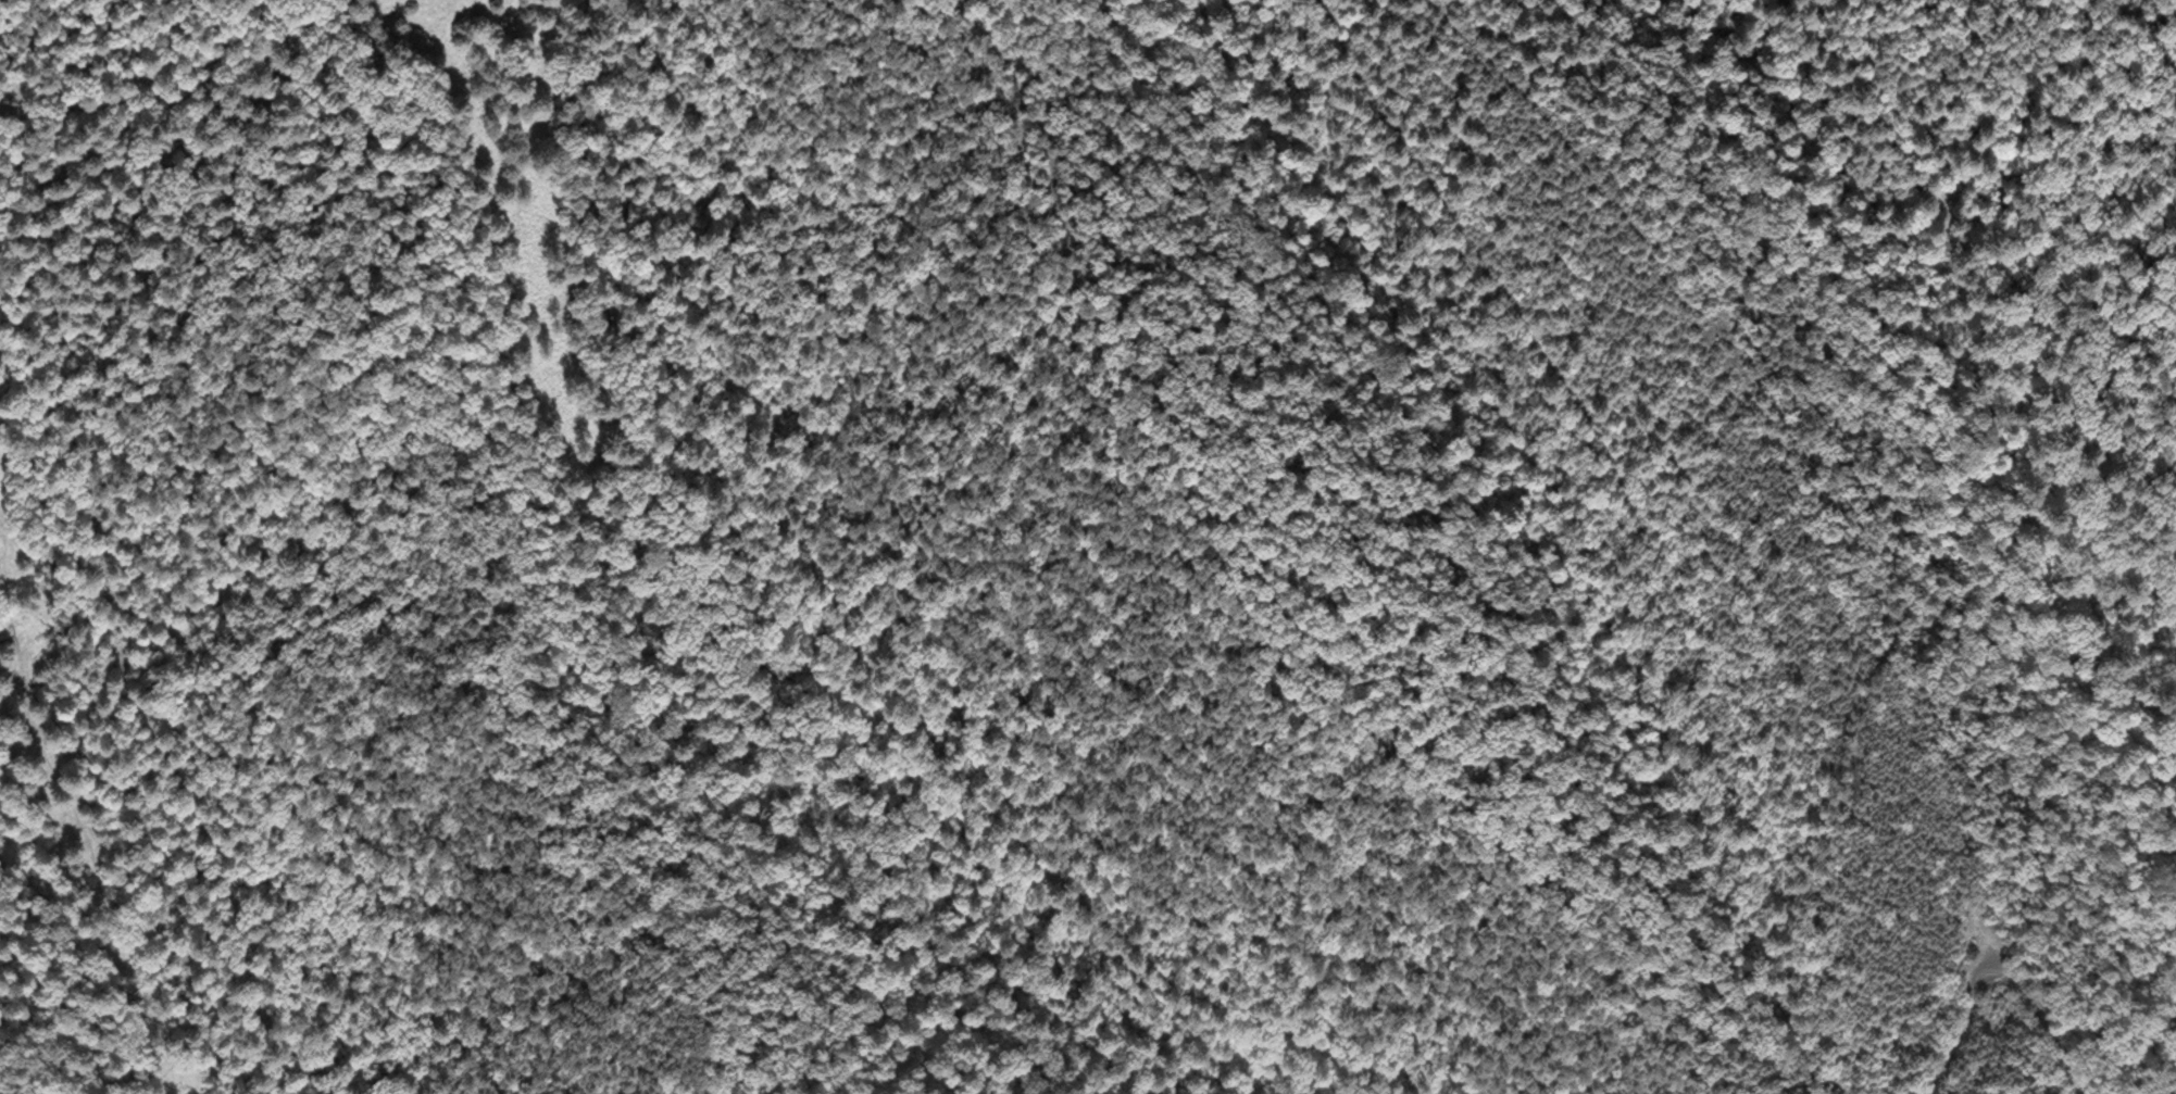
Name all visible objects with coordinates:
road: (1985, 1010)

